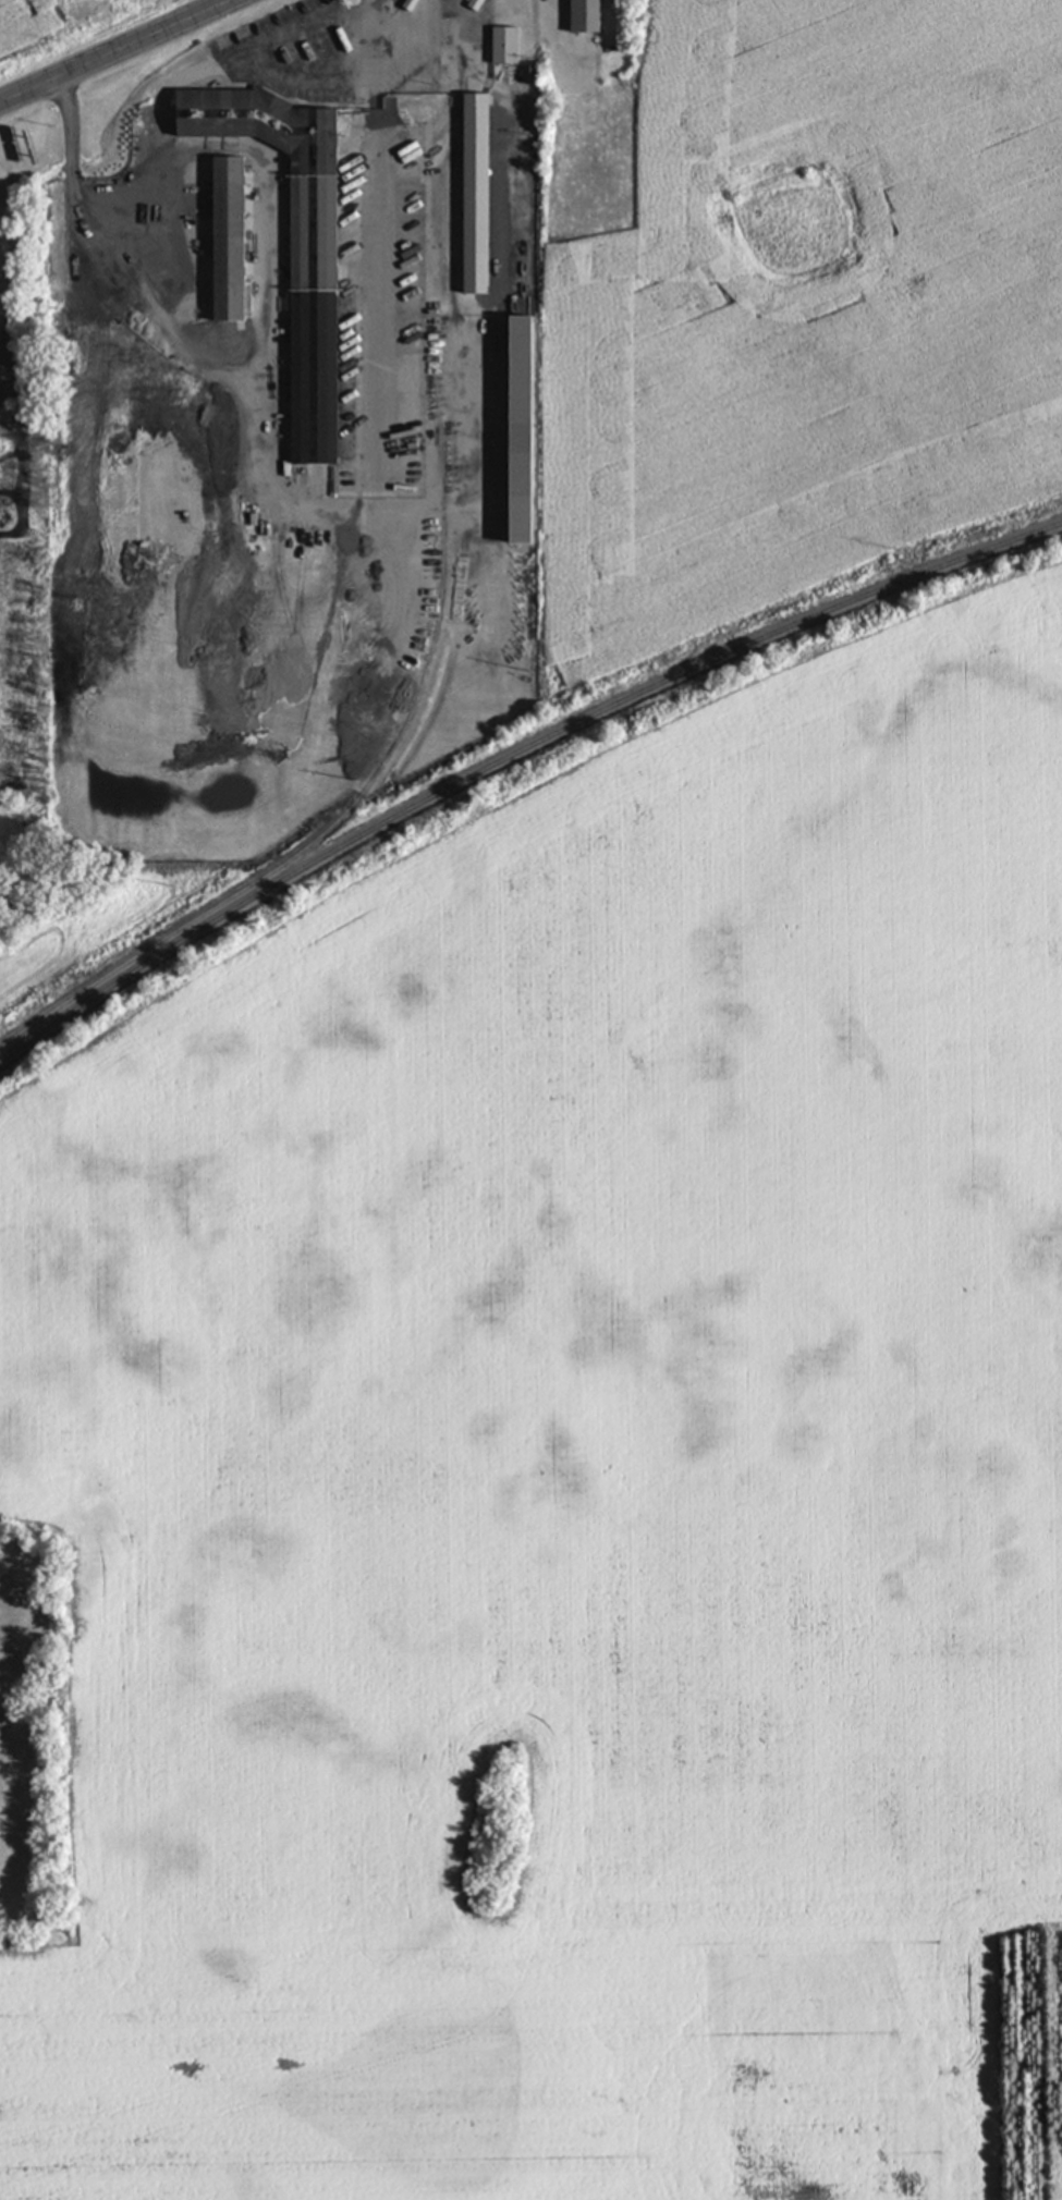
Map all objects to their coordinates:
building: (590, 15)
building: (508, 45)
road: (129, 57)
road: (261, 74)
building: (480, 193)
building: (234, 239)
road: (5, 255)
building: (305, 259)
building: (530, 430)
road: (290, 506)
railway: (511, 750)
railway: (174, 928)

